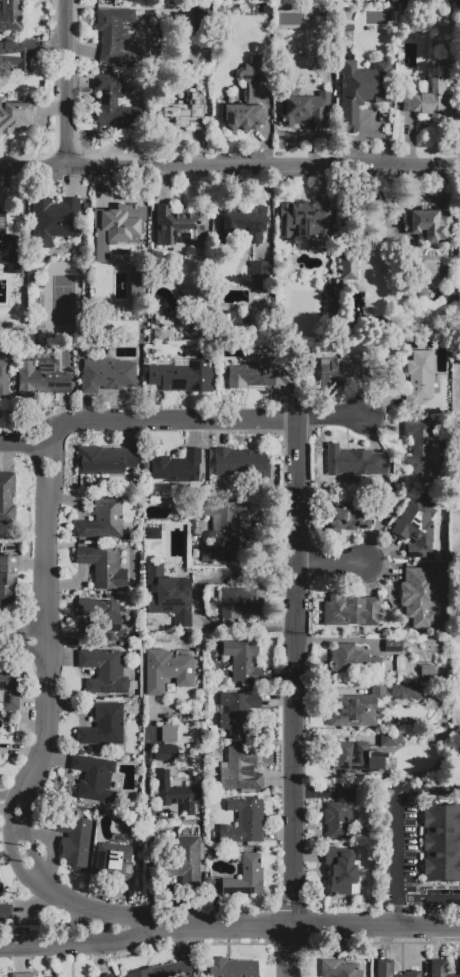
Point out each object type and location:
building: (406, 9)
building: (10, 15)
building: (115, 40)
building: (16, 54)
road: (64, 83)
building: (362, 89)
building: (433, 95)
building: (113, 103)
building: (181, 109)
building: (306, 109)
building: (15, 115)
building: (241, 117)
road: (230, 163)
building: (54, 219)
building: (305, 219)
building: (179, 224)
building: (245, 225)
building: (428, 225)
building: (104, 240)
building: (9, 247)
building: (349, 268)
building: (259, 275)
building: (135, 286)
building: (231, 320)
building: (157, 336)
building: (342, 371)
building: (106, 374)
building: (257, 374)
building: (421, 375)
building: (181, 376)
building: (42, 377)
building: (4, 380)
road: (330, 417)
road: (144, 419)
building: (421, 447)
building: (105, 460)
building: (353, 462)
building: (240, 463)
building: (146, 466)
building: (176, 467)
building: (6, 498)
building: (102, 518)
building: (347, 518)
building: (416, 526)
building: (222, 532)
road: (334, 564)
building: (103, 566)
building: (6, 578)
building: (168, 595)
building: (422, 601)
building: (241, 602)
building: (350, 610)
building: (102, 616)
road: (214, 628)
road: (24, 640)
building: (393, 646)
building: (353, 660)
building: (244, 661)
building: (167, 670)
building: (104, 671)
building: (9, 690)
building: (403, 691)
road: (294, 697)
building: (355, 708)
building: (237, 712)
building: (103, 725)
road: (44, 726)
building: (169, 733)
building: (390, 739)
building: (166, 753)
building: (358, 758)
building: (241, 770)
building: (95, 777)
road: (431, 790)
road: (9, 795)
building: (178, 796)
building: (339, 812)
building: (244, 821)
road: (147, 828)
building: (76, 842)
building: (442, 842)
road: (395, 858)
building: (115, 860)
building: (187, 861)
building: (340, 869)
building: (246, 877)
road: (427, 897)
building: (6, 913)
road: (304, 925)
road: (76, 945)
building: (385, 965)
building: (232, 967)
building: (441, 968)
building: (338, 969)
building: (164, 970)
building: (24, 975)
building: (106, 976)

